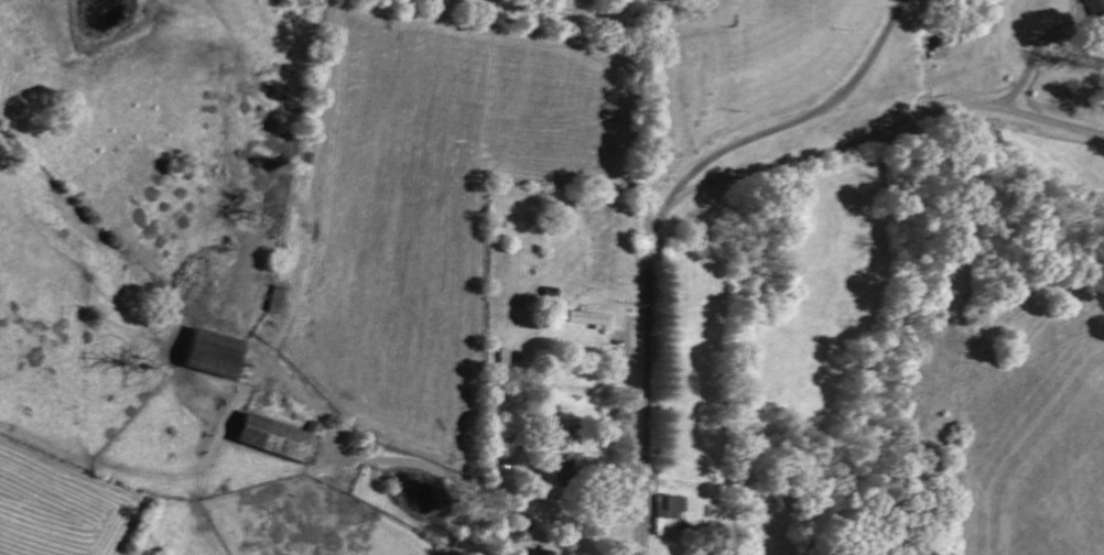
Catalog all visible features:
building: (1093, 7)
road: (661, 14)
road: (1031, 55)
road: (799, 122)
road: (866, 135)
road: (651, 293)
building: (588, 317)
building: (210, 352)
building: (277, 436)
road: (488, 491)
building: (671, 505)
building: (520, 519)
building: (542, 552)

